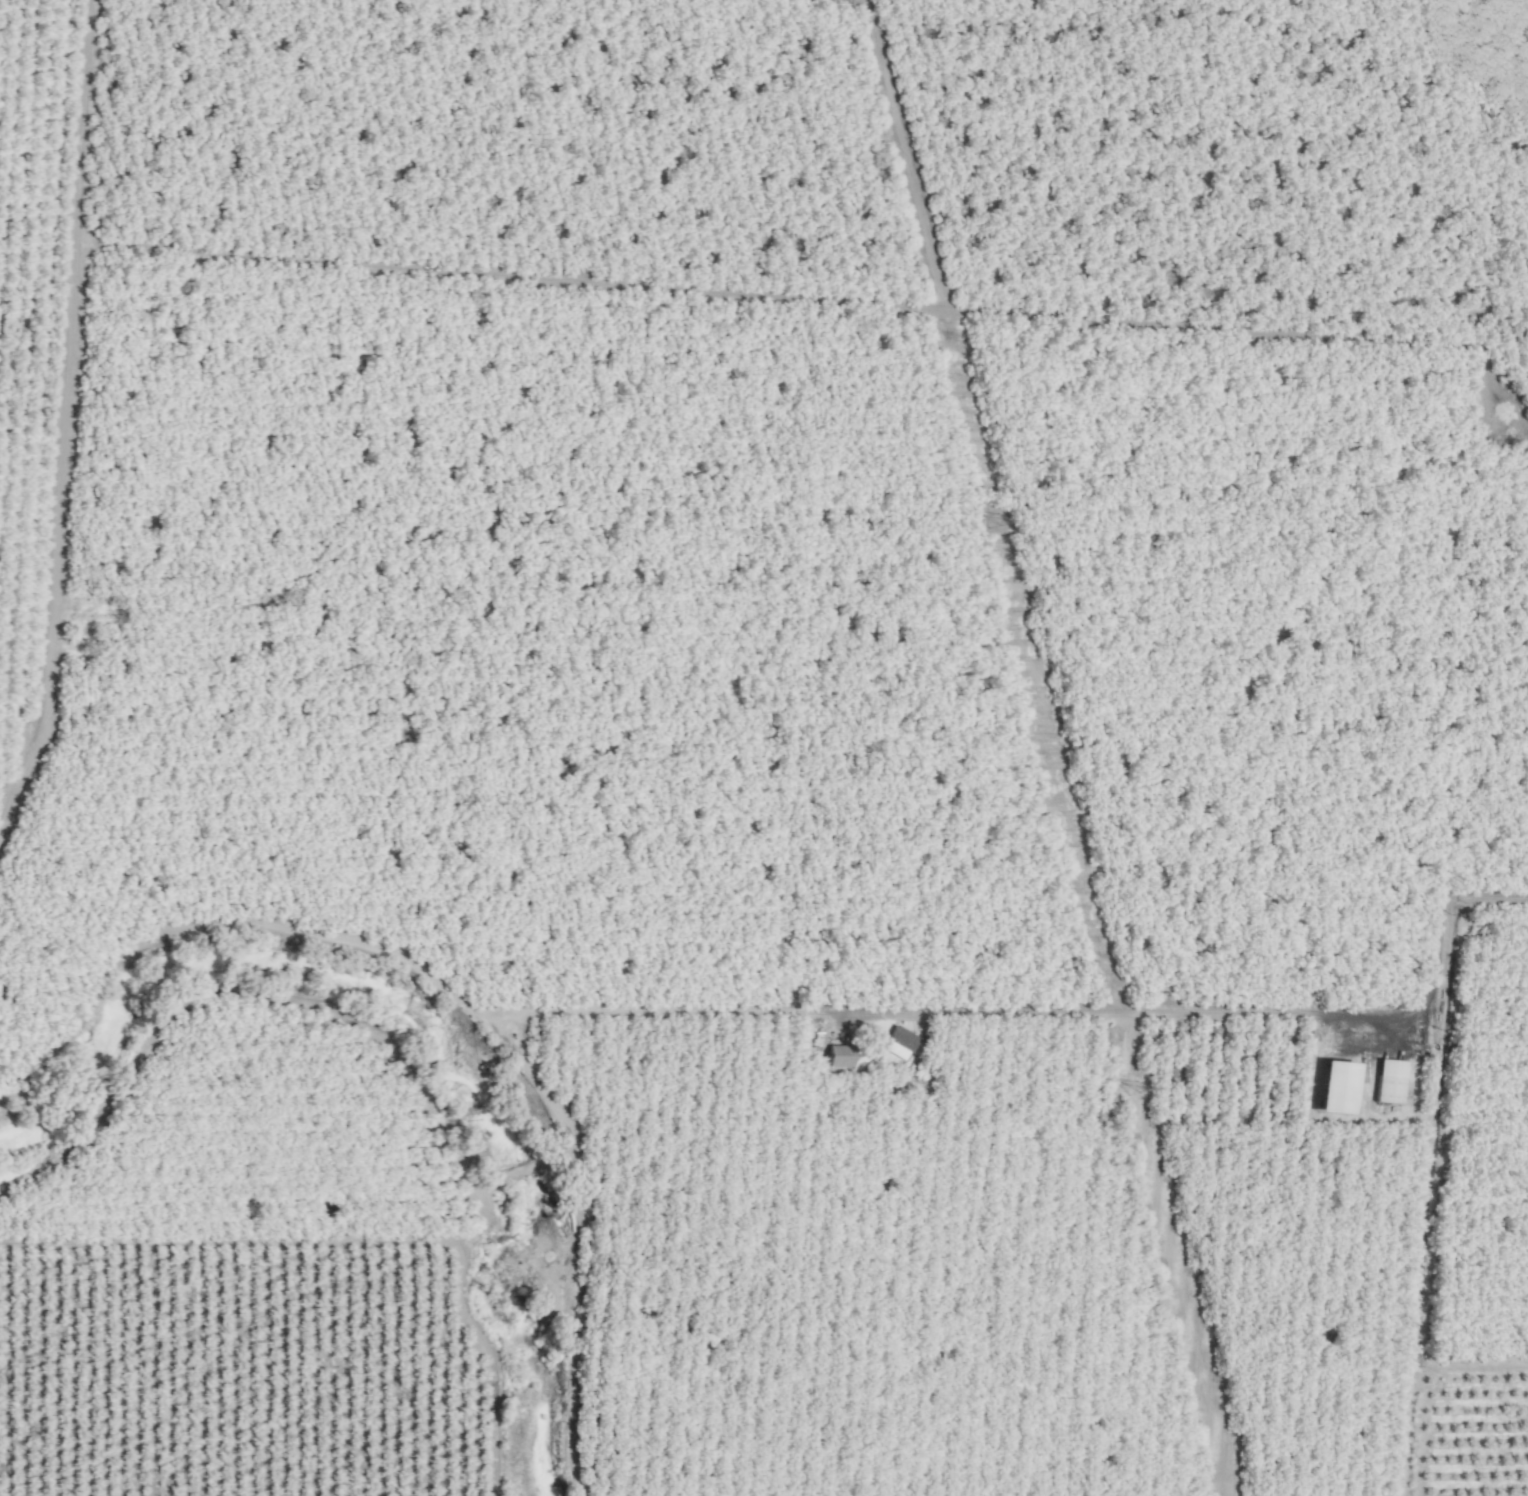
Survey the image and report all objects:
power tower: (994, 522)
wastewater plant: (1385, 986)
road: (1229, 1008)
building: (909, 1043)
building: (841, 1057)
building: (1390, 1082)
building: (1336, 1089)
power tower: (1133, 1091)

